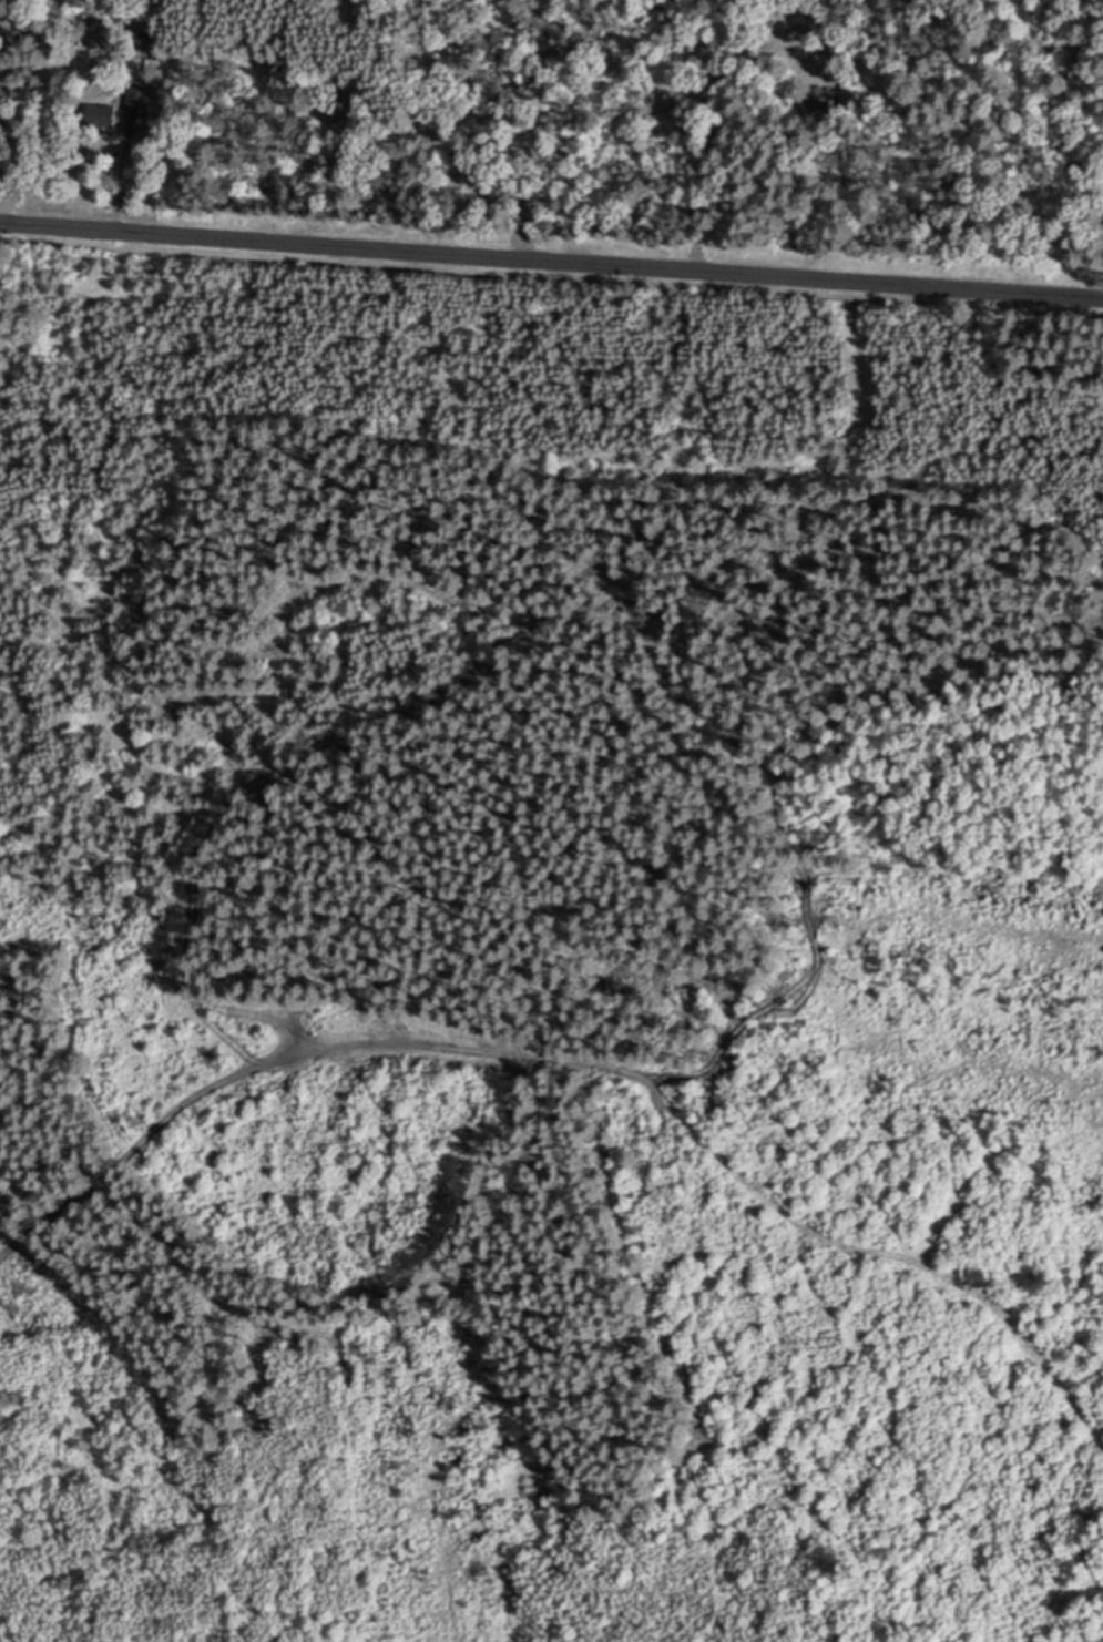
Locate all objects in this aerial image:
building: (140, 101)
road: (116, 193)
road: (551, 258)
road: (586, 1063)

